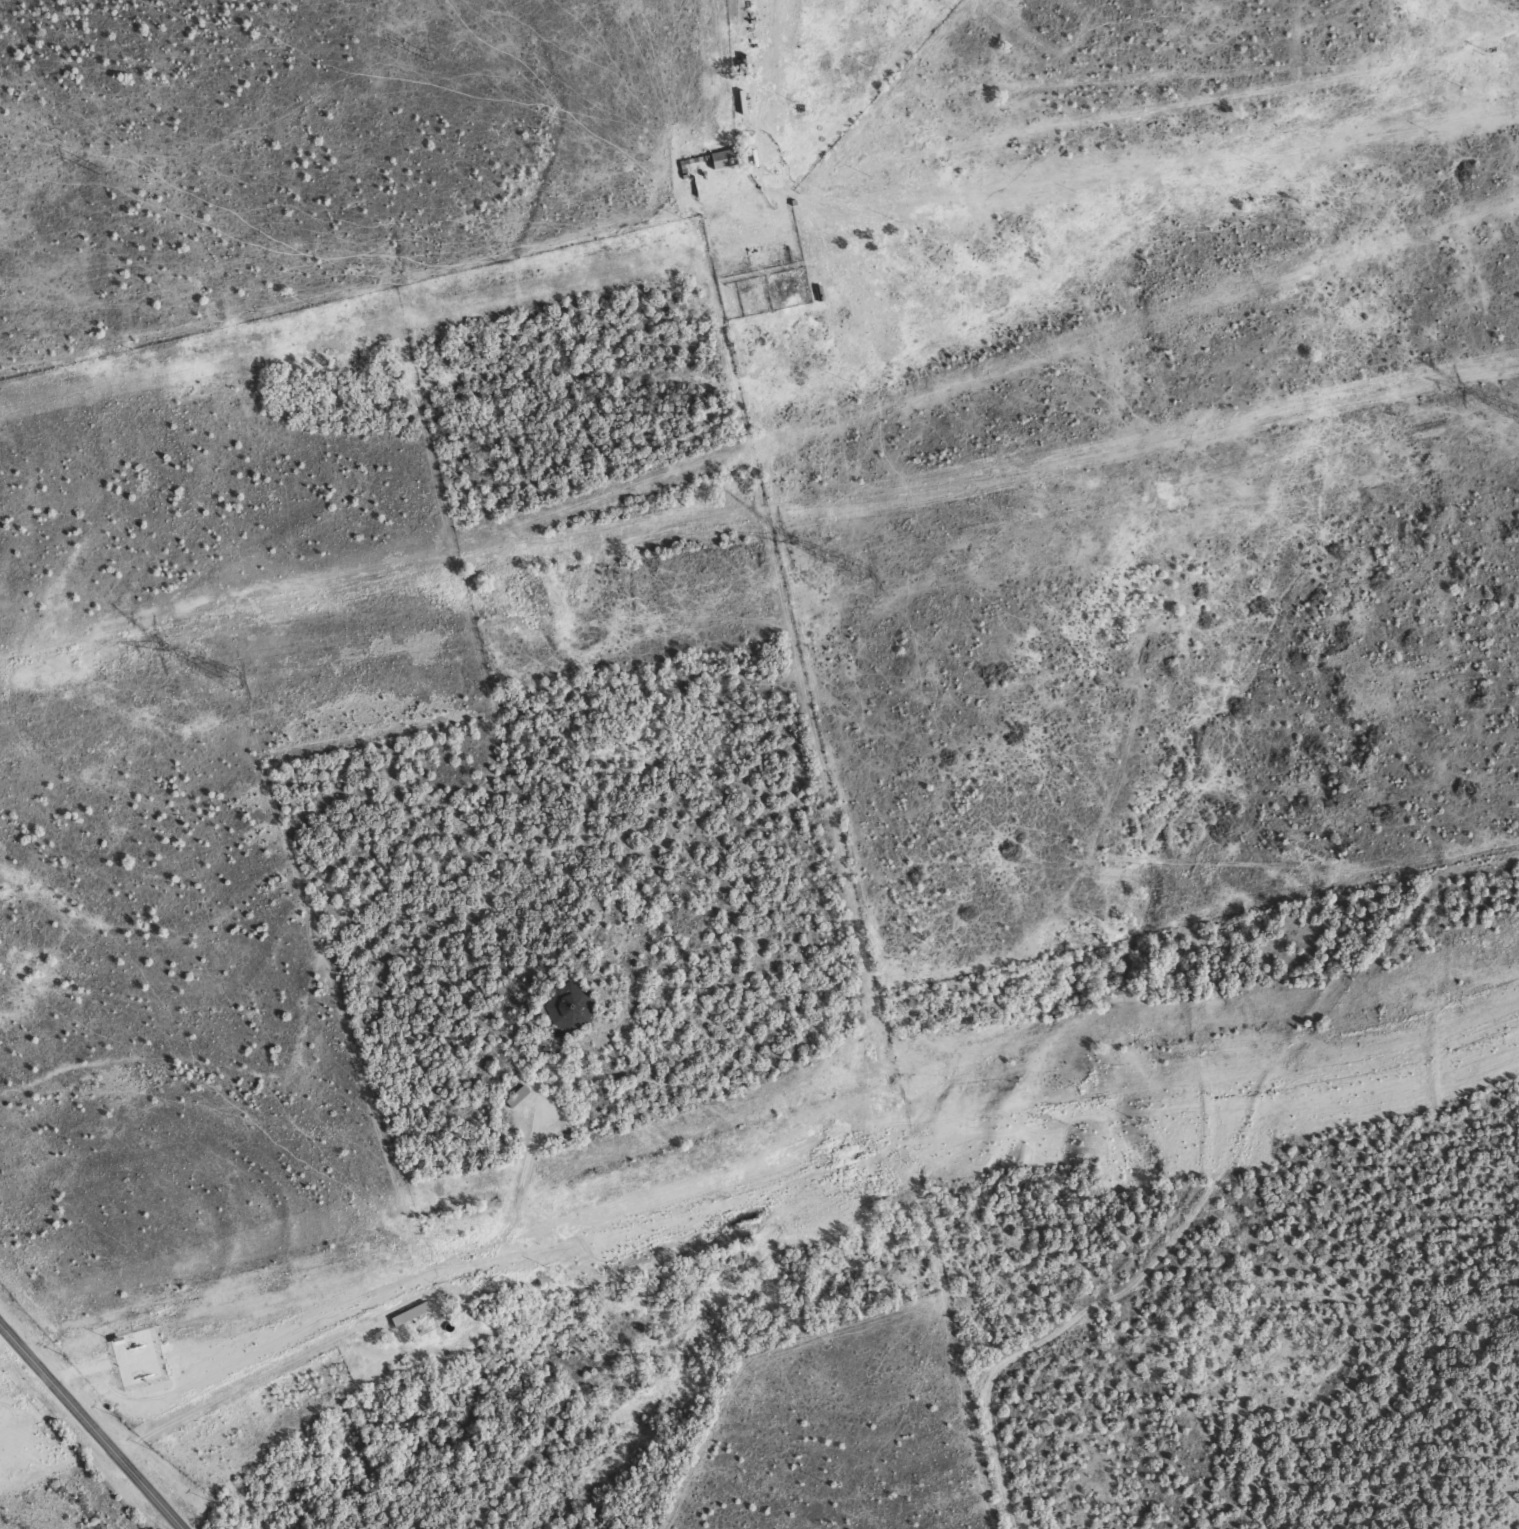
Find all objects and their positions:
road: (775, 51)
power tower: (427, 54)
power tower: (98, 169)
power tower: (857, 571)
power tower: (236, 680)
building: (515, 1095)
road: (1255, 1117)
building: (407, 1313)
road: (240, 1385)
road: (92, 1426)

